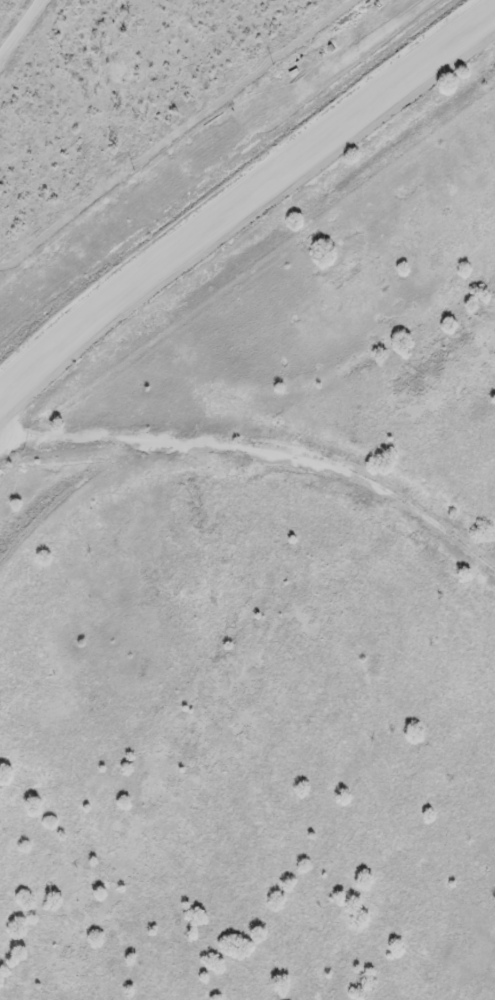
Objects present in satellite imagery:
road: (20, 29)
road: (246, 197)
quarry: (263, 556)

